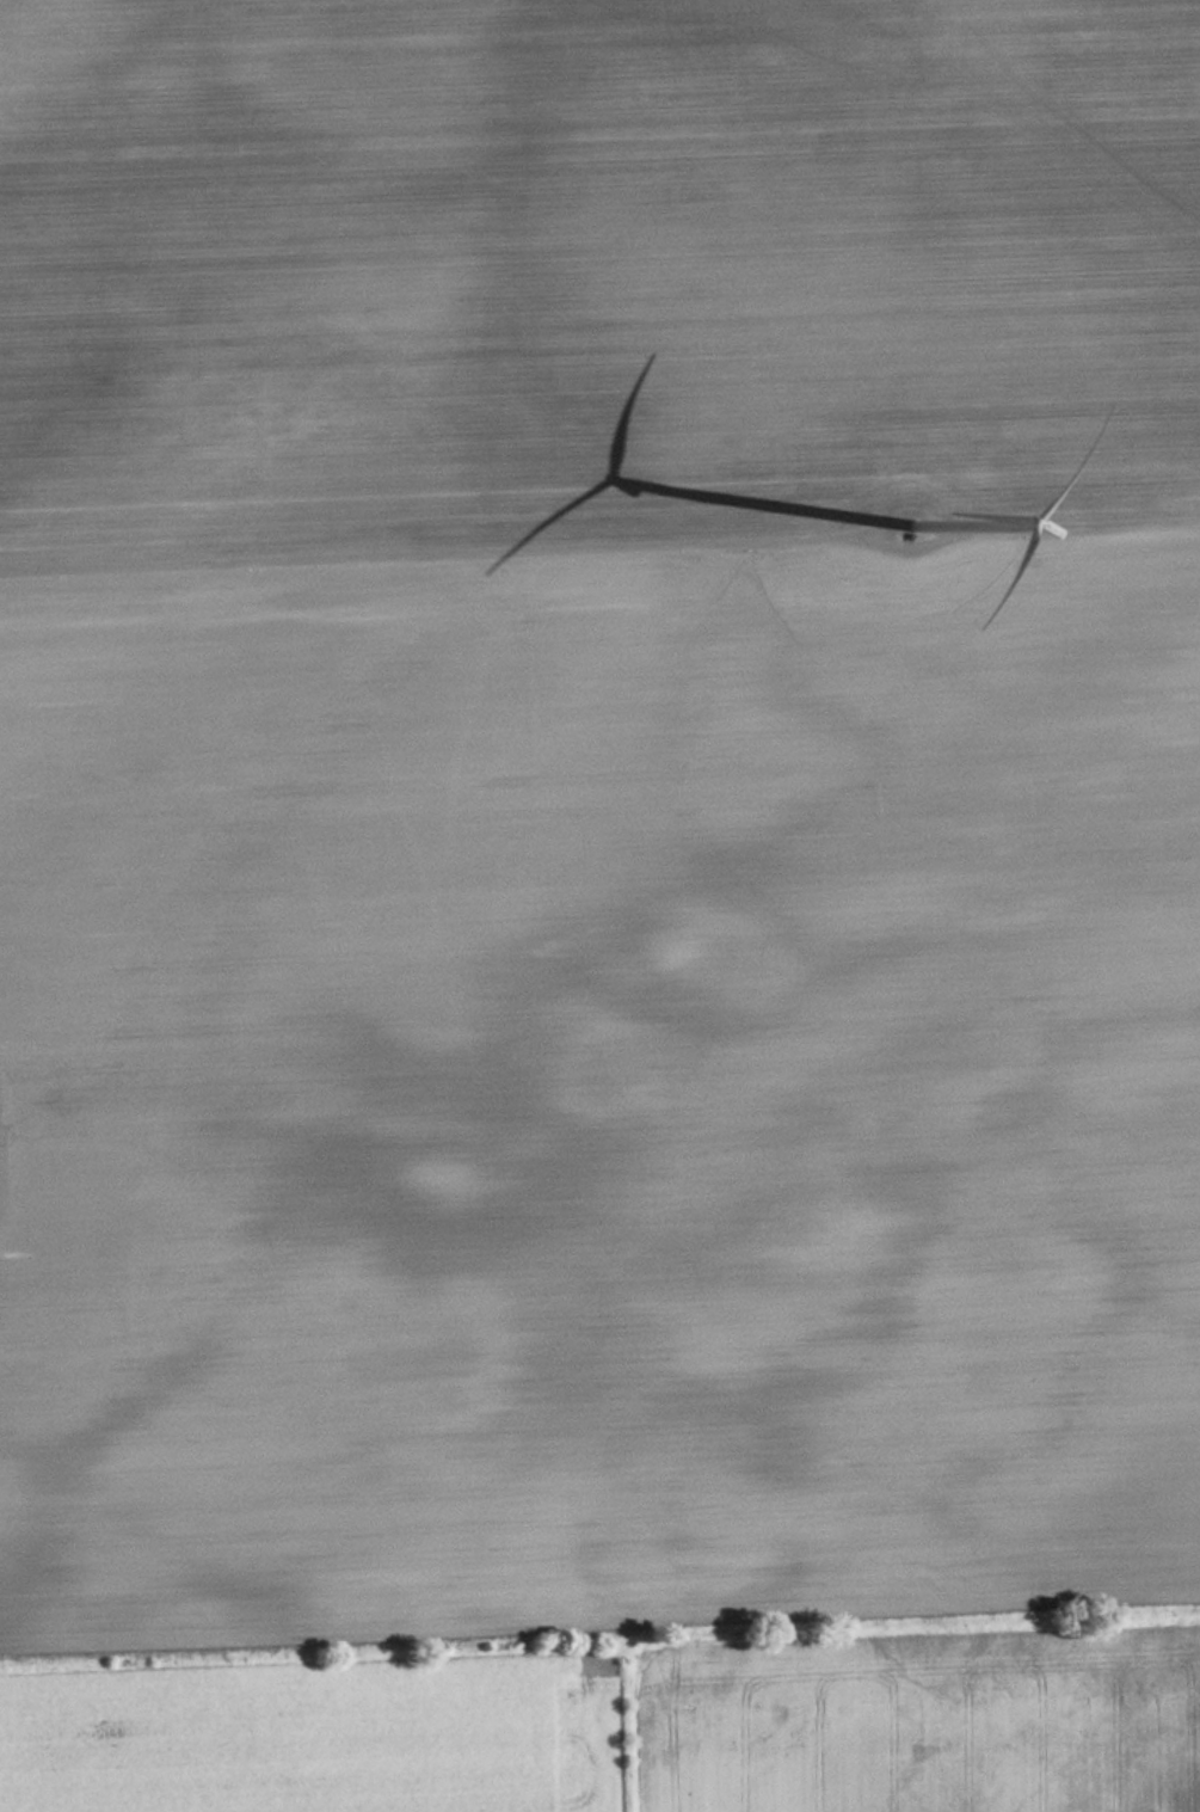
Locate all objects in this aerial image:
wind turbine: (903, 521)
road: (375, 545)

